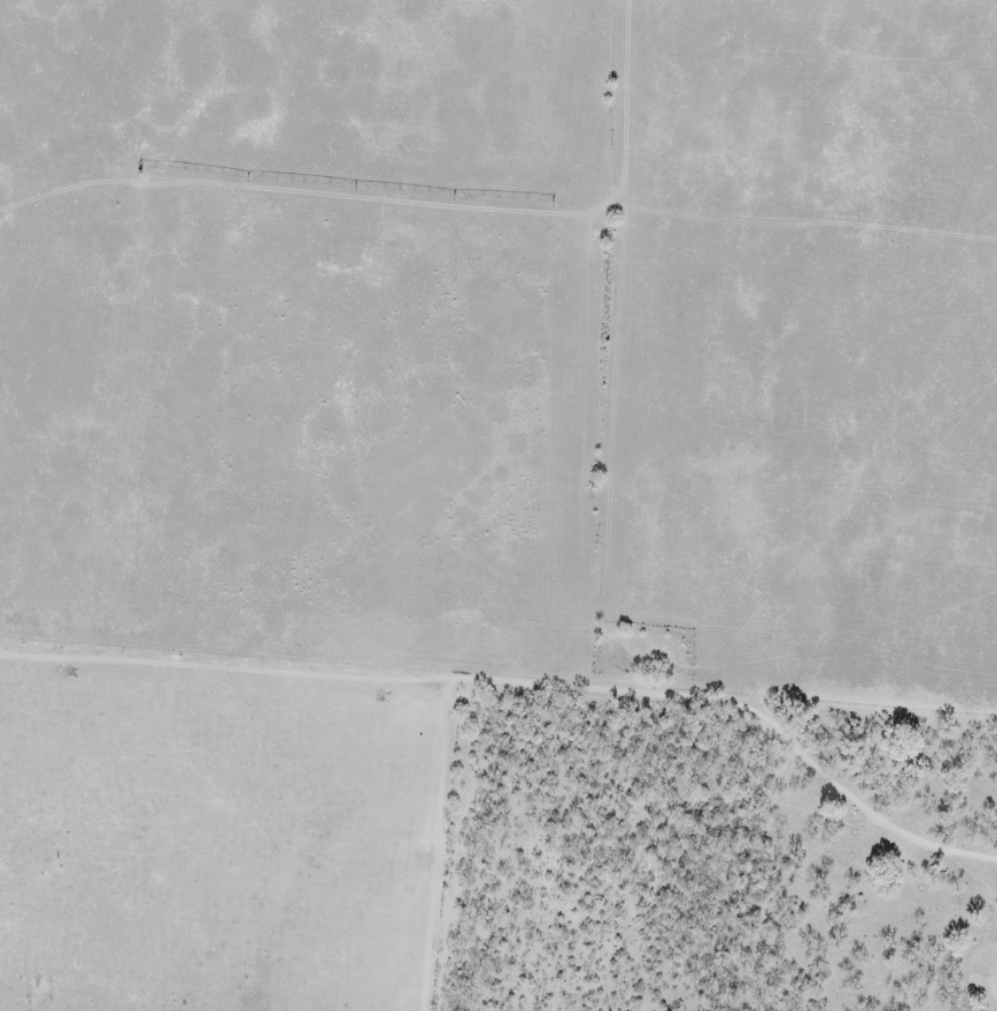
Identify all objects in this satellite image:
road: (523, 682)

